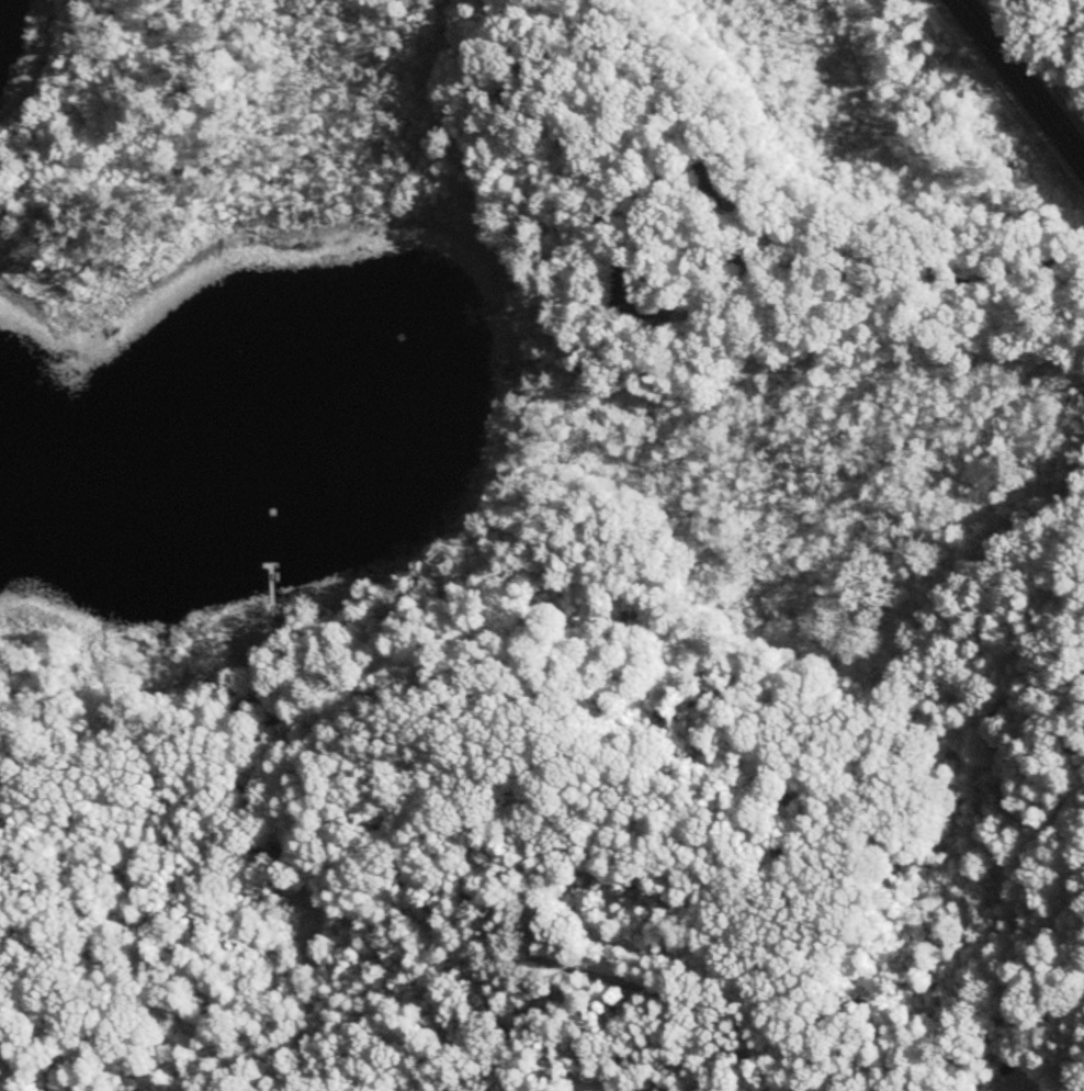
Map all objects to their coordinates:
road: (1021, 80)
building: (716, 175)
road: (882, 284)
building: (630, 294)

